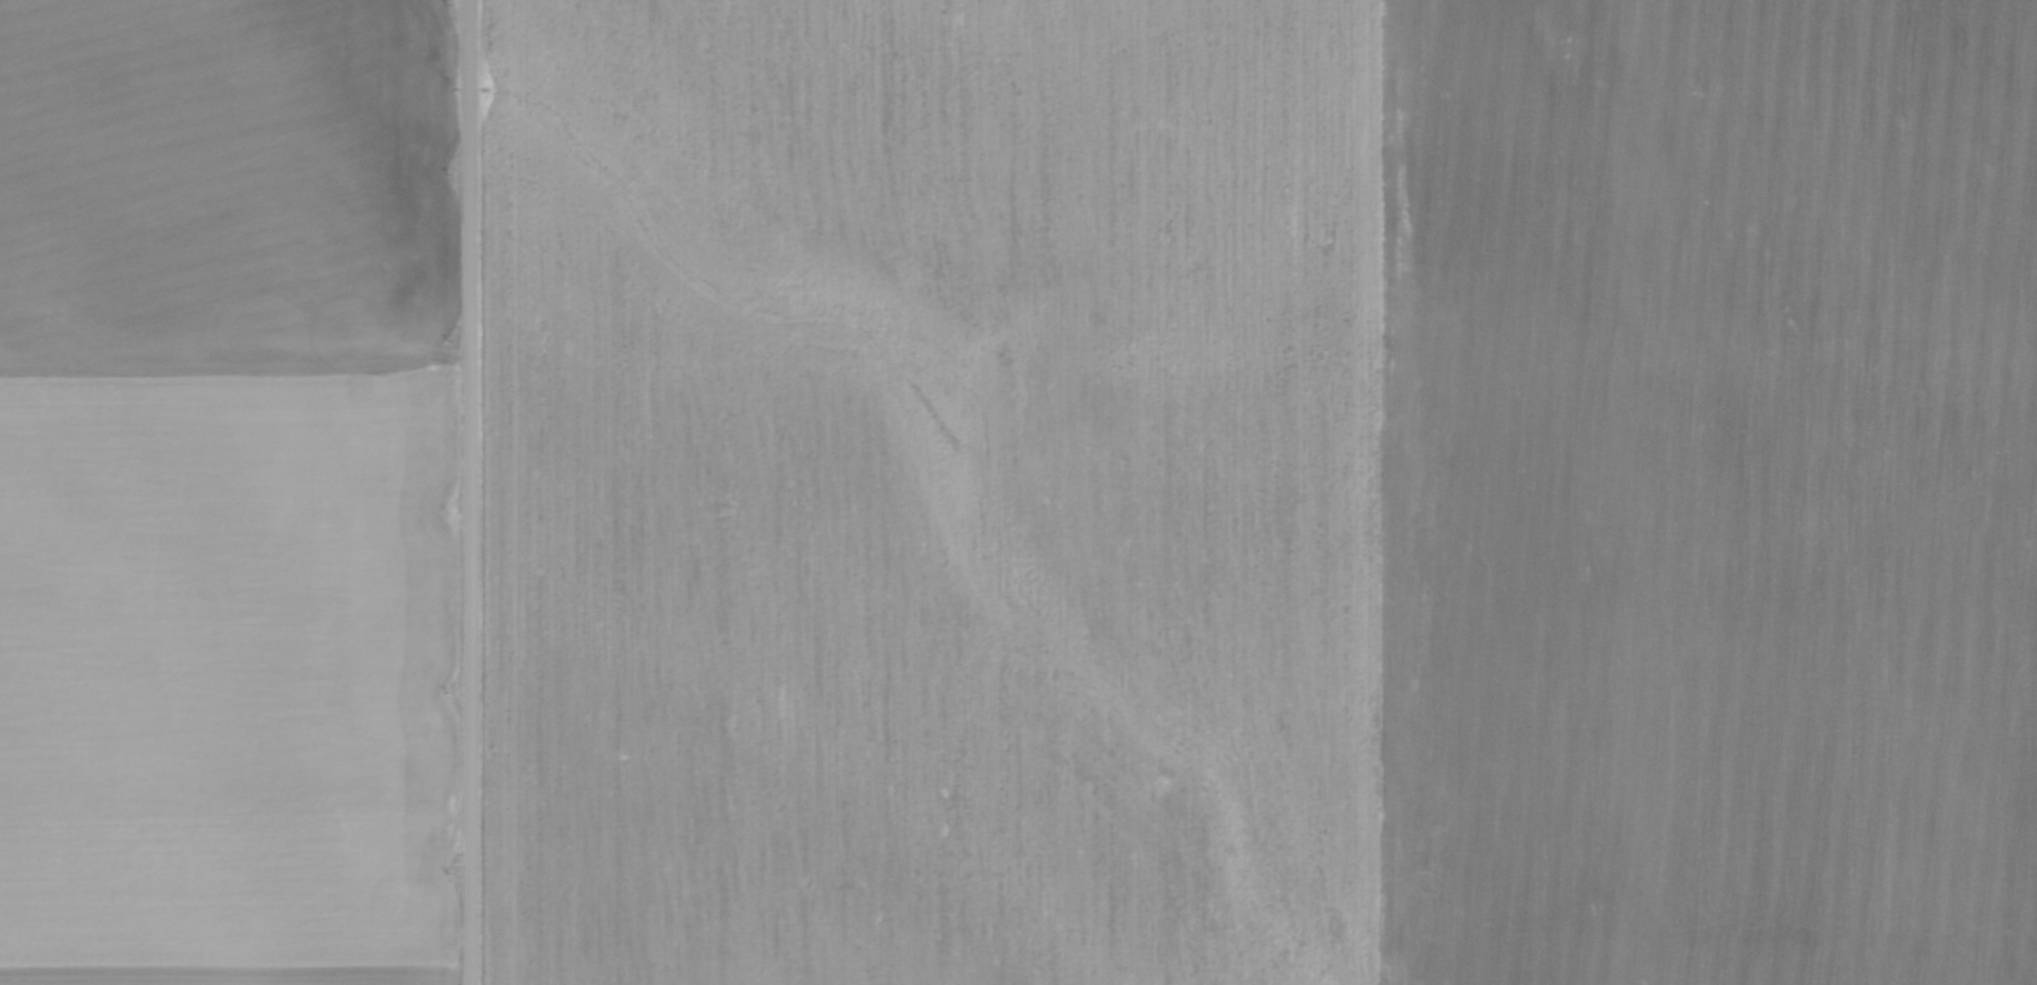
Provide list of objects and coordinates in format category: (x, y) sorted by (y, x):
crop: (228, 492)
road: (472, 492)
crop: (1262, 492)

